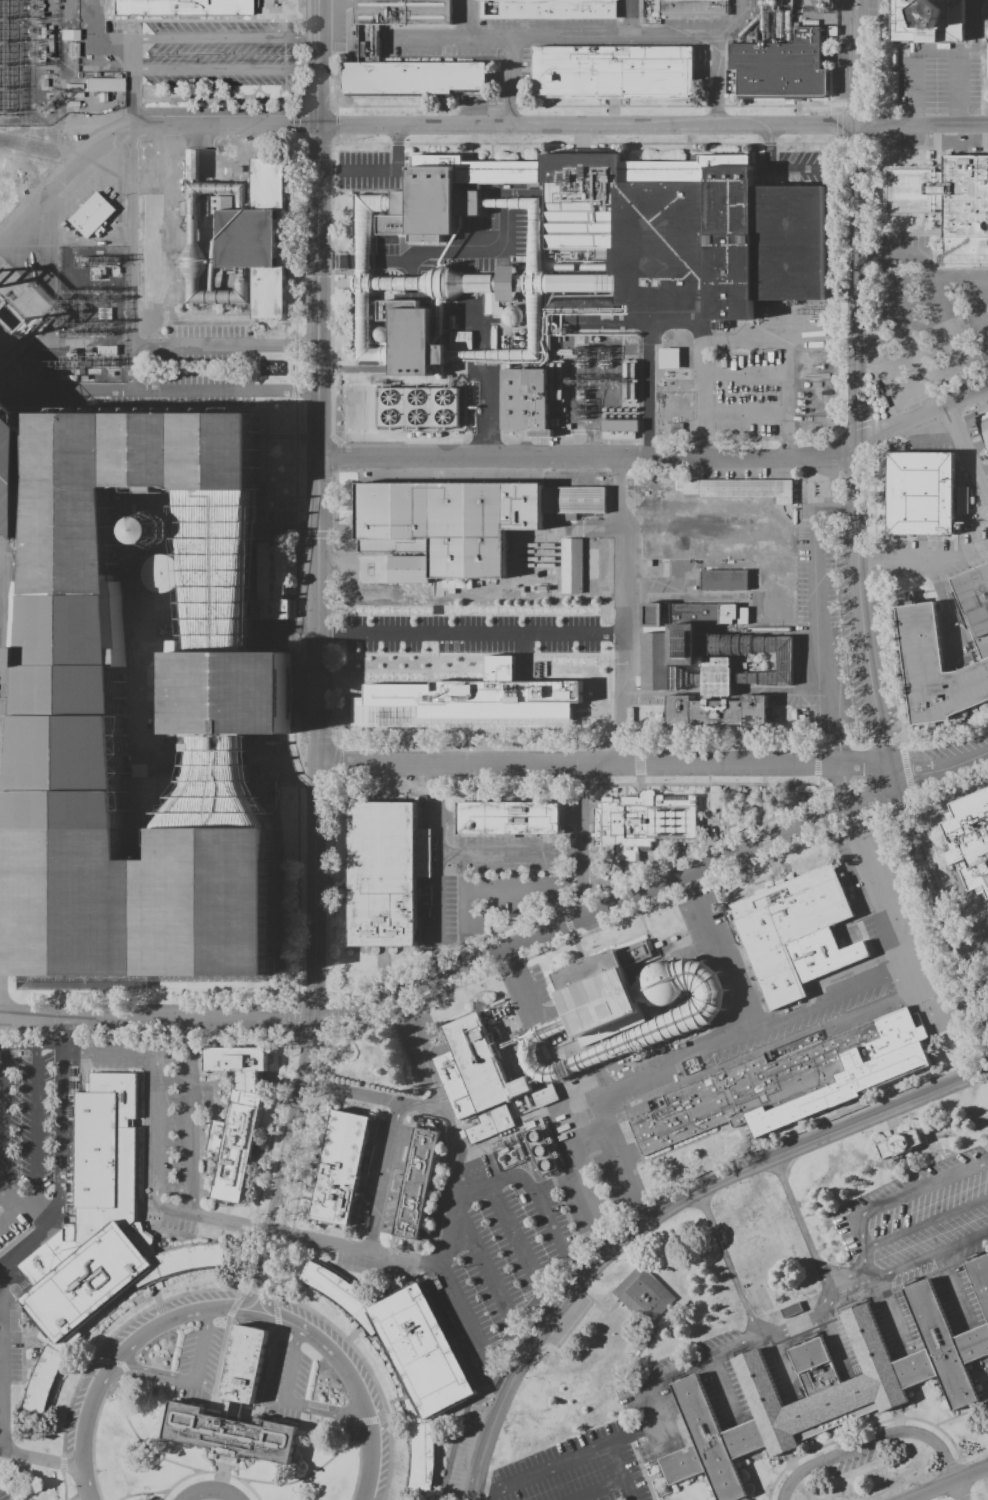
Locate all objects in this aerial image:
building: (187, 8)
building: (695, 9)
building: (548, 10)
road: (630, 18)
building: (925, 21)
road: (613, 36)
road: (224, 37)
building: (369, 46)
power substation: (49, 67)
road: (225, 68)
building: (781, 68)
building: (613, 73)
building: (102, 84)
road: (472, 127)
building: (449, 195)
building: (949, 198)
building: (91, 214)
building: (259, 232)
building: (684, 237)
road: (130, 247)
building: (460, 285)
power substation: (85, 316)
road: (672, 321)
building: (411, 341)
building: (667, 358)
road: (175, 389)
building: (524, 403)
building: (418, 410)
road: (766, 412)
building: (983, 418)
building: (618, 429)
road: (660, 459)
road: (971, 463)
building: (15, 476)
building: (739, 488)
building: (921, 488)
building: (464, 518)
road: (859, 522)
building: (726, 536)
road: (924, 561)
building: (569, 565)
building: (274, 582)
road: (942, 604)
road: (620, 612)
building: (918, 631)
parking lot: (469, 632)
road: (470, 632)
road: (816, 653)
road: (320, 659)
building: (715, 660)
road: (1, 663)
building: (230, 694)
building: (470, 698)
building: (74, 702)
road: (602, 766)
building: (265, 792)
road: (579, 810)
building: (513, 814)
building: (643, 819)
building: (971, 832)
road: (499, 854)
building: (386, 866)
road: (891, 914)
building: (795, 933)
road: (973, 944)
road: (507, 947)
road: (523, 981)
building: (131, 982)
building: (52, 983)
building: (601, 993)
building: (682, 1021)
road: (755, 1023)
road: (70, 1030)
road: (95, 1042)
building: (481, 1064)
road: (625, 1079)
building: (785, 1083)
building: (454, 1085)
building: (545, 1095)
road: (418, 1106)
parking lot: (26, 1116)
building: (236, 1118)
road: (154, 1123)
building: (491, 1124)
road: (34, 1125)
road: (189, 1128)
parking lot: (164, 1129)
road: (2, 1134)
building: (900, 1145)
building: (531, 1151)
building: (340, 1167)
road: (57, 1168)
road: (382, 1176)
parking lot: (913, 1180)
building: (415, 1183)
road: (536, 1189)
road: (921, 1190)
road: (586, 1206)
parking lot: (926, 1207)
road: (40, 1211)
road: (663, 1212)
road: (213, 1219)
road: (548, 1227)
road: (800, 1227)
road: (910, 1232)
building: (97, 1233)
road: (515, 1237)
parking lot: (844, 1238)
parking lot: (931, 1238)
parking lot: (526, 1242)
road: (402, 1257)
road: (484, 1263)
parking lot: (370, 1264)
road: (727, 1265)
road: (918, 1265)
road: (442, 1271)
road: (851, 1271)
road: (954, 1287)
building: (643, 1295)
road: (830, 1299)
road: (599, 1307)
road: (228, 1310)
building: (791, 1311)
road: (891, 1311)
road: (275, 1316)
parking lot: (566, 1322)
road: (791, 1322)
road: (575, 1325)
road: (835, 1338)
building: (410, 1355)
road: (702, 1359)
road: (782, 1362)
road: (112, 1363)
parking lot: (8, 1368)
building: (244, 1368)
road: (190, 1378)
road: (266, 1378)
road: (123, 1380)
road: (721, 1386)
building: (829, 1386)
road: (69, 1403)
road: (288, 1404)
road: (651, 1413)
road: (364, 1421)
road: (630, 1434)
building: (230, 1435)
road: (871, 1441)
road: (1, 1449)
road: (336, 1453)
road: (221, 1458)
road: (225, 1458)
road: (228, 1459)
road: (61, 1462)
street lamp: (96, 1471)
road: (540, 1471)
road: (617, 1471)
road: (216, 1472)
road: (219, 1473)
road: (222, 1473)
road: (227, 1474)
road: (180, 1479)
parking lot: (561, 1482)
road: (950, 1484)
road: (64, 1485)
road: (246, 1486)
road: (219, 1487)
road: (593, 1489)
road: (960, 1490)
road: (212, 1492)
road: (142, 1493)

